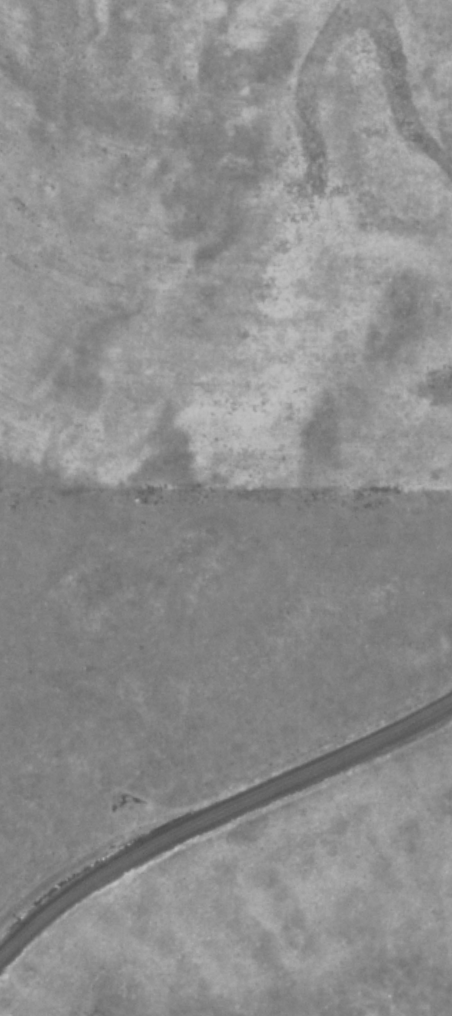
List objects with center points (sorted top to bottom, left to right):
road: (216, 810)

